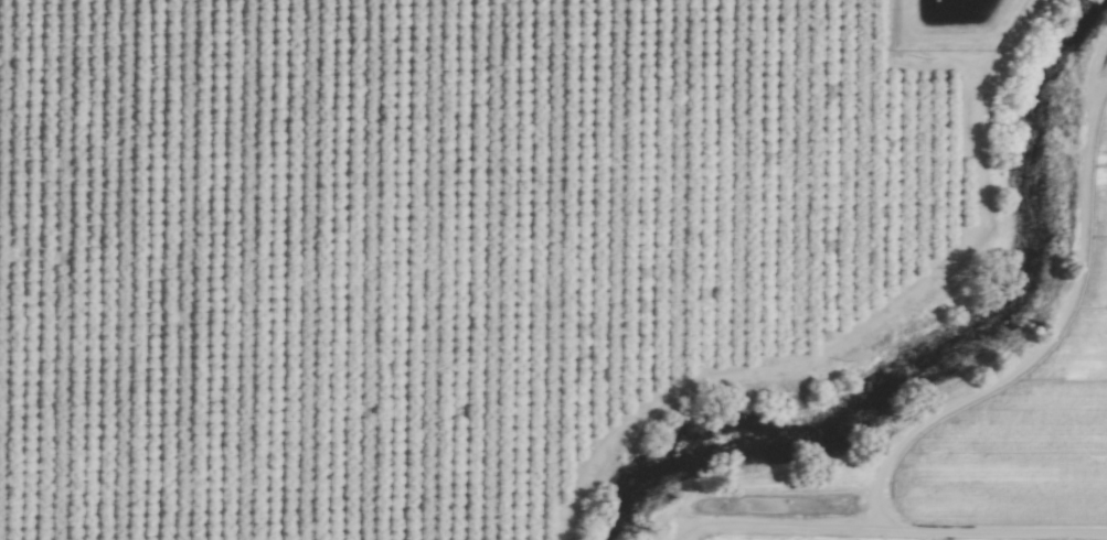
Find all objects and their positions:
road: (892, 528)

